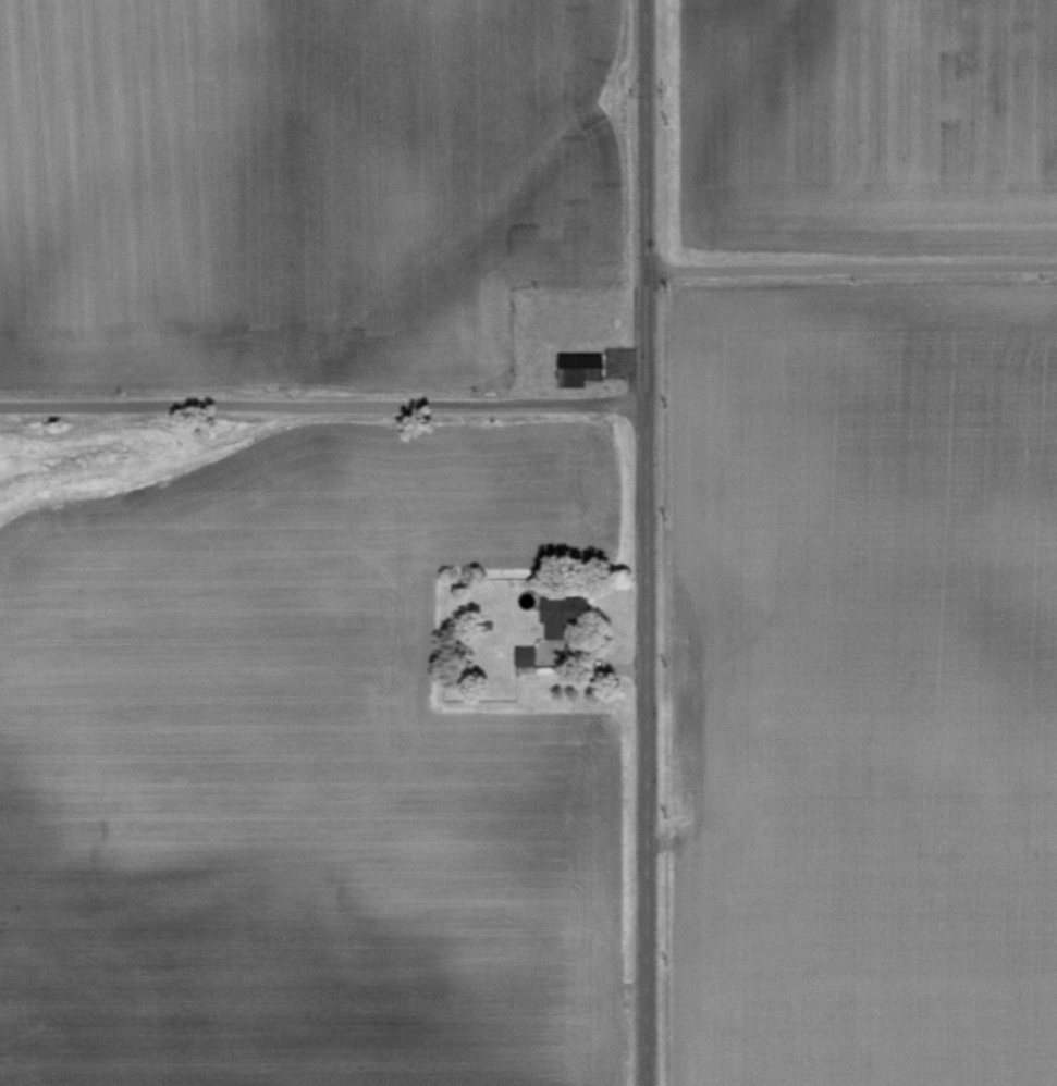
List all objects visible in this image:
road: (643, 200)
road: (850, 268)
building: (591, 371)
road: (322, 404)
building: (530, 661)
road: (595, 662)
road: (650, 743)

